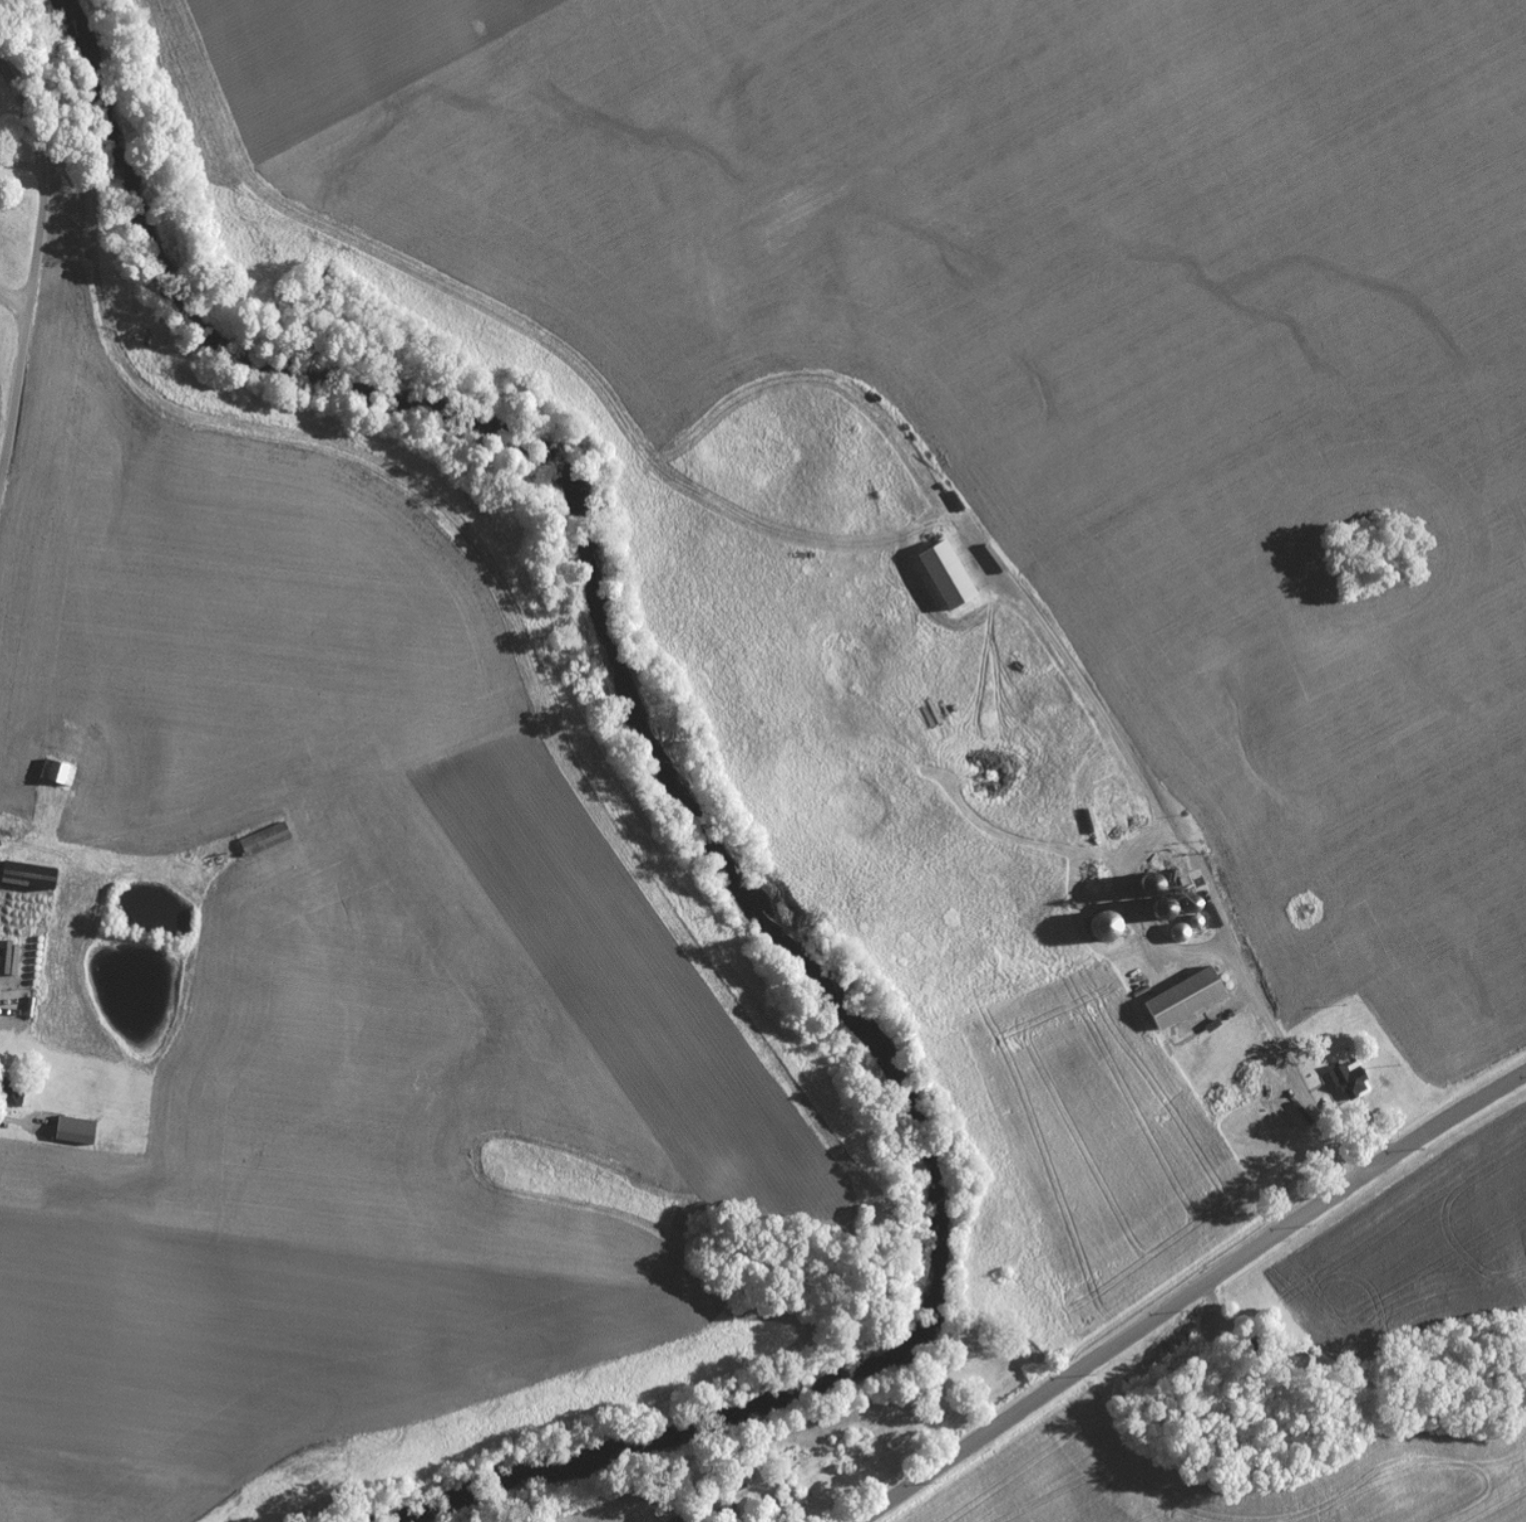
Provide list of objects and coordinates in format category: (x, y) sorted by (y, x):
road: (35, 264)
road: (1393, 273)
road: (13, 311)
park: (1373, 550)
building: (951, 576)
building: (60, 773)
building: (267, 839)
building: (36, 878)
building: (1188, 999)
building: (1346, 1083)
building: (79, 1131)
road: (1188, 1292)

